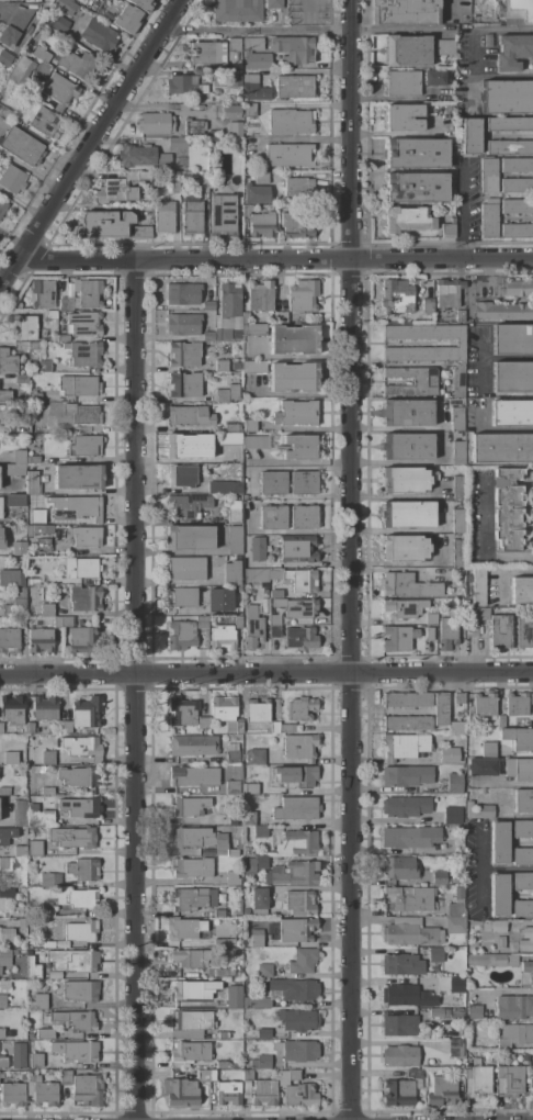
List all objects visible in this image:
building: (118, 0)
building: (274, 3)
road: (309, 3)
building: (143, 4)
building: (66, 5)
road: (449, 7)
building: (237, 11)
parking lot: (309, 12)
building: (405, 12)
building: (518, 12)
building: (127, 19)
building: (57, 22)
building: (14, 25)
road: (347, 30)
building: (98, 34)
building: (488, 41)
building: (234, 44)
building: (444, 46)
building: (293, 48)
building: (407, 51)
building: (512, 51)
building: (41, 53)
building: (206, 53)
building: (256, 54)
building: (235, 56)
building: (5, 57)
building: (78, 64)
building: (43, 69)
building: (21, 72)
building: (435, 77)
building: (236, 78)
building: (402, 82)
building: (185, 85)
building: (295, 86)
building: (256, 88)
building: (60, 90)
building: (508, 96)
building: (434, 108)
building: (249, 109)
building: (229, 111)
building: (4, 112)
building: (404, 117)
building: (45, 121)
building: (291, 121)
building: (156, 123)
building: (507, 123)
building: (194, 126)
building: (235, 130)
building: (470, 136)
building: (178, 142)
road: (90, 145)
building: (22, 146)
building: (509, 146)
building: (417, 153)
building: (287, 154)
building: (141, 156)
building: (179, 161)
building: (517, 165)
building: (488, 173)
building: (239, 178)
building: (12, 179)
building: (200, 183)
building: (517, 184)
building: (174, 186)
building: (298, 187)
building: (416, 187)
building: (120, 188)
building: (258, 189)
building: (517, 205)
building: (2, 208)
building: (247, 210)
road: (462, 210)
building: (223, 211)
building: (192, 215)
building: (163, 216)
building: (408, 219)
building: (488, 221)
building: (261, 224)
building: (101, 225)
building: (141, 225)
building: (296, 225)
building: (449, 229)
building: (517, 229)
road: (277, 256)
building: (517, 288)
building: (449, 292)
building: (42, 294)
building: (90, 294)
building: (184, 294)
building: (303, 295)
building: (397, 296)
building: (260, 298)
building: (66, 303)
building: (428, 304)
building: (208, 306)
building: (227, 310)
building: (502, 311)
building: (52, 314)
building: (460, 316)
building: (247, 317)
building: (282, 317)
building: (83, 324)
building: (24, 327)
building: (188, 327)
building: (254, 329)
building: (64, 338)
building: (294, 338)
building: (513, 338)
building: (27, 346)
building: (430, 348)
building: (83, 354)
building: (184, 354)
road: (507, 358)
building: (7, 361)
building: (45, 366)
building: (222, 366)
building: (236, 366)
building: (254, 367)
building: (236, 376)
building: (513, 376)
building: (294, 377)
building: (22, 379)
building: (424, 381)
building: (79, 385)
building: (182, 387)
building: (227, 393)
building: (5, 395)
building: (407, 412)
building: (512, 412)
building: (296, 413)
building: (81, 414)
building: (185, 414)
building: (457, 418)
building: (38, 423)
building: (250, 425)
building: (231, 427)
building: (230, 438)
building: (256, 441)
building: (86, 446)
building: (188, 446)
building: (299, 446)
building: (407, 446)
building: (502, 448)
building: (458, 452)
building: (33, 458)
building: (14, 466)
building: (182, 475)
building: (78, 477)
building: (405, 480)
building: (304, 482)
building: (33, 483)
building: (273, 483)
building: (225, 486)
building: (458, 486)
building: (16, 501)
building: (79, 505)
building: (188, 506)
building: (1, 507)
building: (508, 508)
building: (234, 512)
building: (407, 514)
building: (36, 516)
building: (273, 516)
building: (304, 516)
building: (458, 520)
building: (22, 536)
building: (87, 536)
building: (189, 537)
building: (0, 539)
road: (484, 539)
building: (235, 540)
building: (43, 545)
building: (405, 548)
building: (258, 549)
building: (297, 549)
building: (458, 552)
road: (351, 560)
building: (81, 567)
building: (186, 569)
building: (231, 572)
road: (503, 572)
building: (10, 578)
building: (284, 578)
building: (33, 581)
building: (407, 585)
building: (478, 586)
building: (522, 590)
building: (265, 591)
building: (276, 594)
building: (182, 597)
building: (86, 598)
building: (219, 600)
building: (15, 604)
building: (297, 607)
building: (399, 608)
building: (47, 609)
building: (431, 618)
building: (275, 619)
building: (63, 621)
building: (22, 623)
building: (474, 625)
building: (252, 627)
building: (184, 630)
building: (500, 630)
building: (274, 631)
building: (524, 631)
building: (447, 632)
building: (223, 637)
building: (300, 637)
building: (398, 638)
building: (41, 639)
building: (83, 639)
building: (9, 640)
building: (430, 645)
road: (265, 673)
road: (135, 690)
building: (460, 697)
building: (532, 698)
building: (408, 699)
building: (484, 704)
building: (518, 704)
building: (45, 707)
building: (224, 707)
building: (13, 708)
building: (302, 708)
building: (441, 708)
building: (257, 710)
building: (87, 712)
building: (182, 712)
building: (469, 720)
building: (501, 720)
building: (204, 721)
building: (407, 723)
building: (3, 726)
building: (66, 726)
building: (235, 726)
building: (274, 727)
building: (456, 727)
building: (30, 728)
building: (287, 728)
building: (519, 737)
building: (193, 744)
building: (404, 746)
building: (86, 747)
building: (300, 747)
building: (488, 749)
building: (231, 753)
building: (256, 755)
building: (444, 755)
building: (11, 758)
building: (47, 758)
building: (36, 760)
building: (481, 766)
building: (519, 769)
building: (235, 772)
building: (194, 775)
building: (407, 775)
building: (78, 776)
building: (271, 776)
building: (299, 776)
building: (454, 782)
building: (233, 787)
building: (250, 788)
building: (4, 791)
building: (47, 791)
building: (30, 792)
building: (524, 800)
building: (189, 806)
building: (406, 806)
building: (80, 807)
building: (297, 808)
building: (484, 811)
building: (20, 813)
building: (38, 815)
building: (453, 815)
building: (249, 816)
building: (217, 820)
building: (522, 828)
building: (260, 831)
building: (7, 835)
building: (410, 837)
building: (78, 838)
building: (205, 840)
building: (499, 841)
building: (298, 842)
building: (34, 847)
building: (20, 851)
building: (522, 855)
building: (4, 863)
building: (14, 863)
building: (254, 864)
building: (191, 867)
building: (400, 867)
building: (83, 869)
building: (295, 872)
building: (440, 877)
building: (233, 878)
building: (50, 880)
building: (522, 881)
building: (7, 893)
building: (458, 893)
building: (499, 894)
building: (82, 898)
building: (192, 898)
building: (408, 898)
building: (259, 901)
building: (300, 903)
building: (48, 908)
building: (522, 908)
building: (455, 909)
building: (246, 911)
building: (220, 912)
building: (15, 922)
building: (455, 925)
building: (500, 926)
building: (182, 929)
building: (296, 929)
building: (81, 931)
building: (410, 932)
building: (5, 933)
building: (256, 938)
building: (531, 938)
building: (220, 942)
building: (506, 943)
building: (48, 944)
building: (436, 954)
building: (7, 955)
building: (189, 957)
building: (73, 960)
building: (494, 960)
building: (302, 961)
building: (402, 964)
building: (33, 968)
building: (0, 970)
building: (264, 971)
building: (219, 972)
building: (525, 973)
building: (238, 975)
building: (460, 979)
building: (7, 984)
building: (449, 984)
building: (190, 989)
building: (296, 989)
building: (66, 994)
building: (407, 995)
building: (231, 996)
building: (253, 999)
building: (1, 1000)
building: (513, 1007)
building: (475, 1011)
building: (435, 1012)
building: (447, 1012)
building: (456, 1013)
building: (298, 1019)
building: (75, 1020)
building: (190, 1023)
building: (400, 1024)
building: (253, 1033)
building: (263, 1033)
building: (224, 1034)
building: (47, 1035)
building: (513, 1035)
building: (456, 1048)
building: (297, 1050)
building: (76, 1051)
building: (189, 1053)
building: (19, 1055)
building: (400, 1055)
building: (35, 1060)
building: (2, 1061)
building: (261, 1062)
building: (223, 1064)
building: (532, 1072)
building: (1, 1074)
building: (204, 1075)
building: (217, 1075)
building: (461, 1075)
building: (23, 1077)
building: (66, 1077)
building: (477, 1078)
building: (510, 1080)
building: (247, 1083)
building: (88, 1088)
building: (297, 1089)
building: (401, 1089)
building: (442, 1090)
building: (42, 1091)
building: (180, 1091)
building: (281, 1093)
building: (228, 1094)
building: (264, 1094)
building: (12, 1095)

